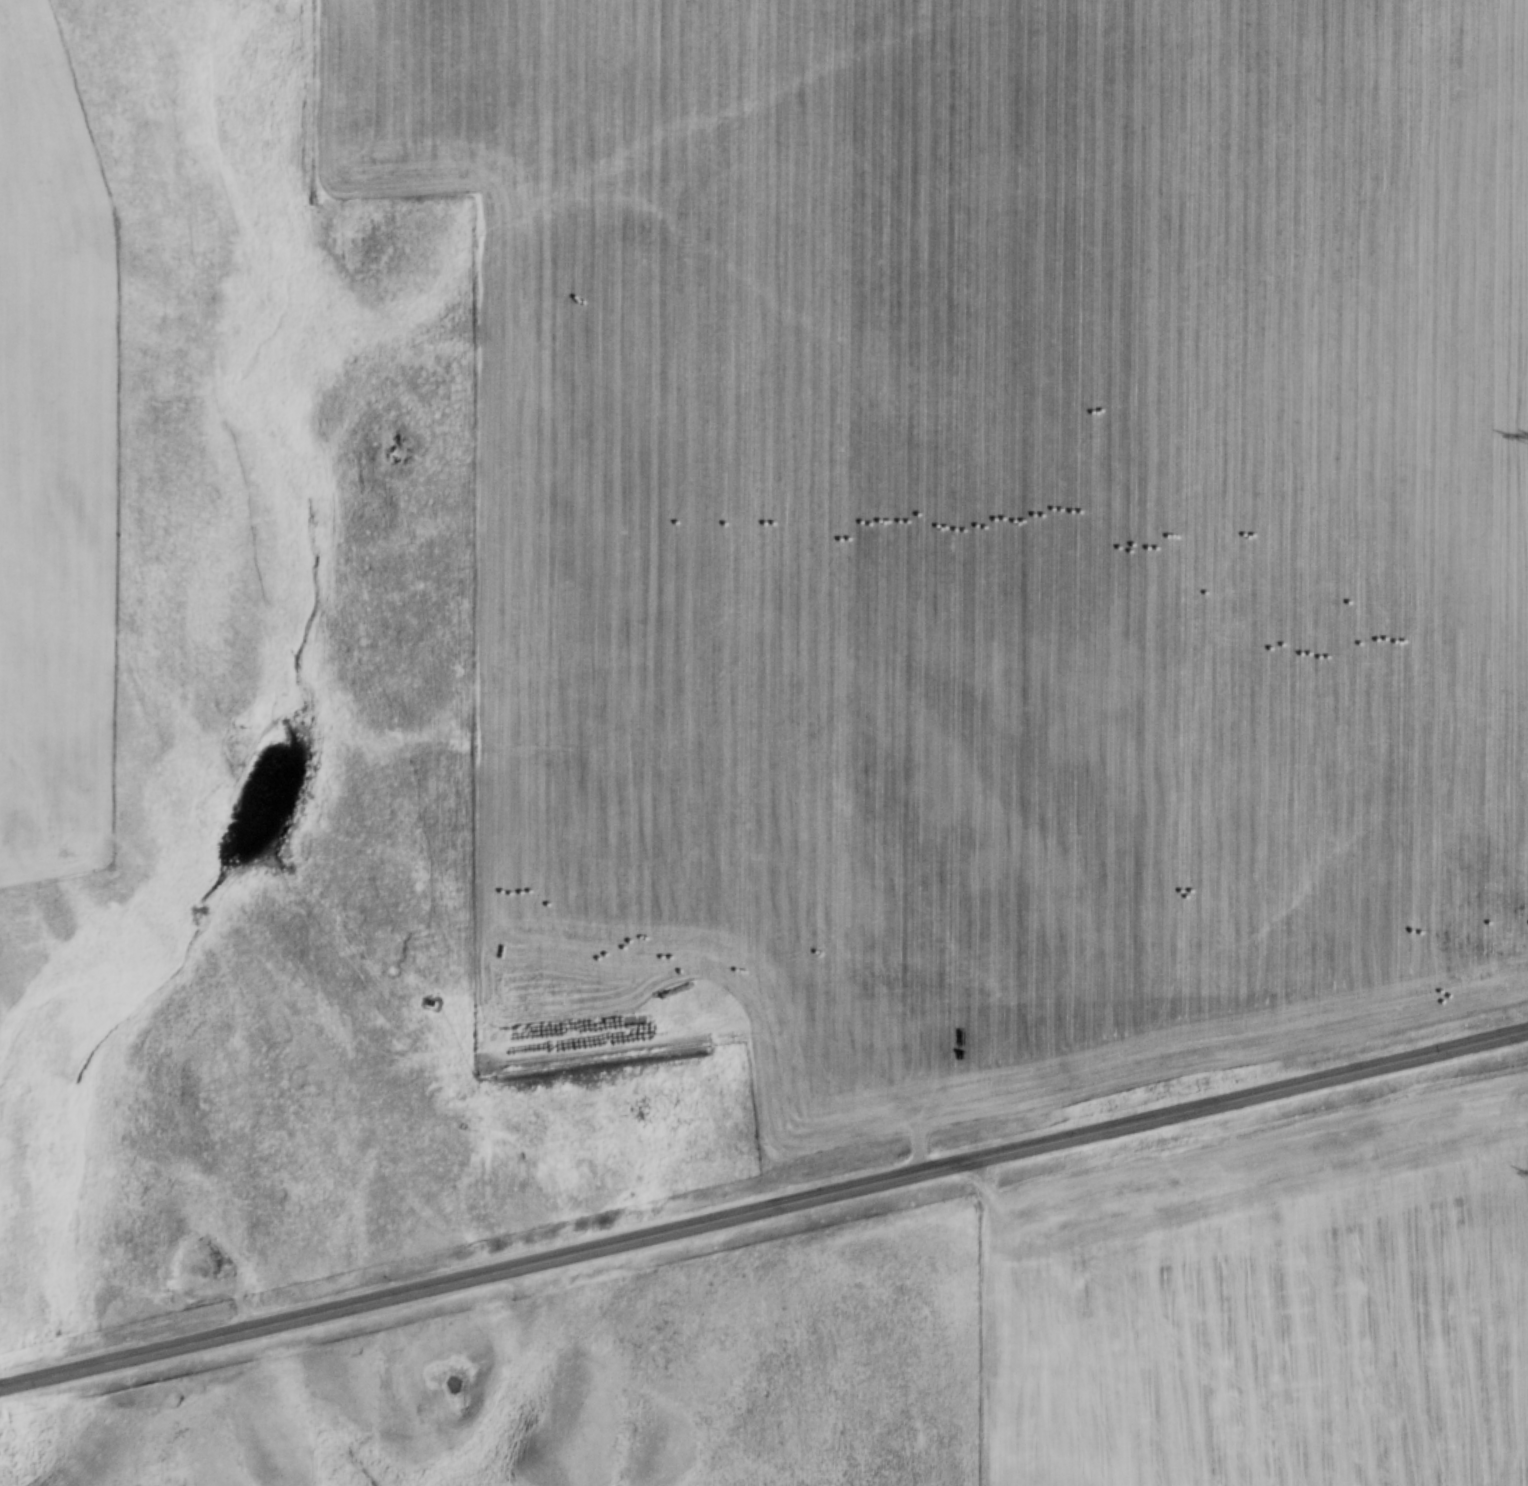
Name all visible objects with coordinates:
road: (764, 1218)

